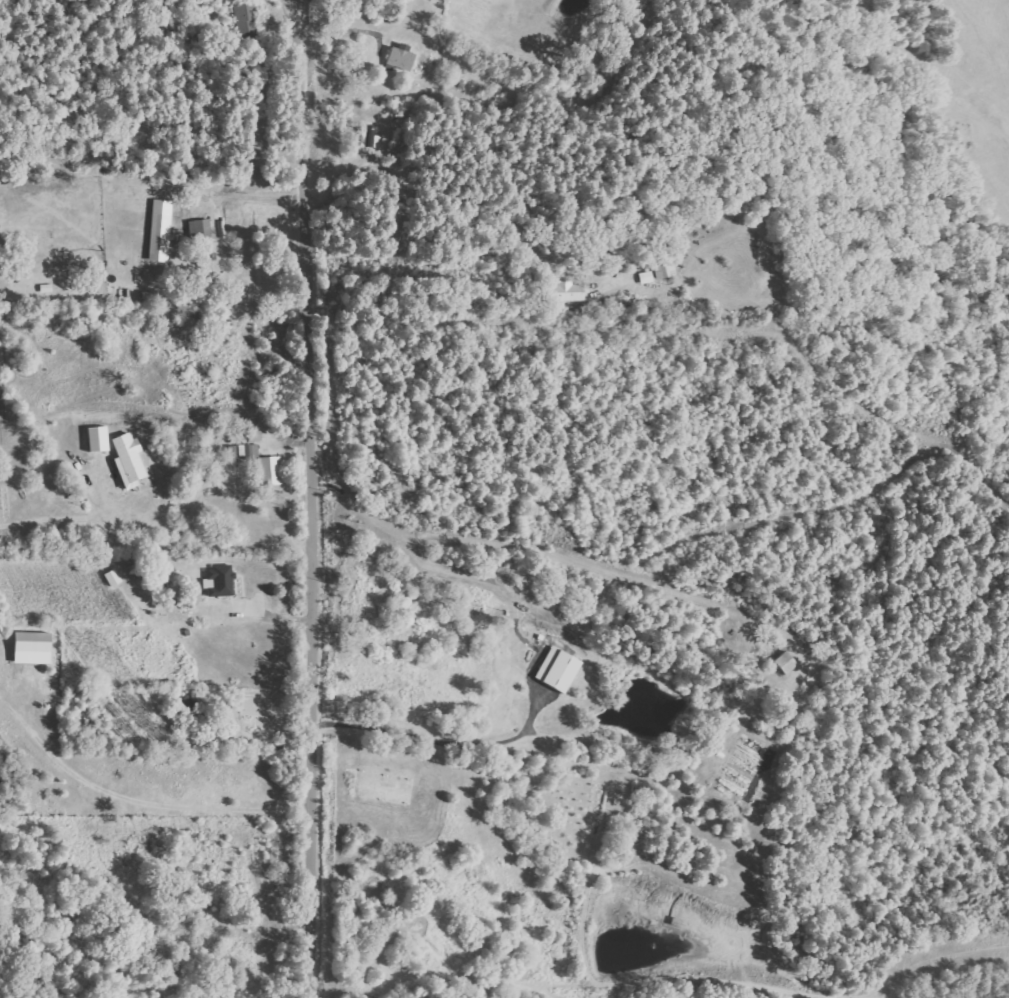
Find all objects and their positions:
building: (245, 21)
building: (400, 59)
building: (371, 138)
building: (201, 229)
building: (161, 230)
building: (648, 277)
building: (100, 438)
building: (130, 460)
building: (264, 465)
road: (310, 498)
building: (114, 577)
building: (220, 581)
building: (35, 636)
building: (787, 663)
building: (560, 669)

